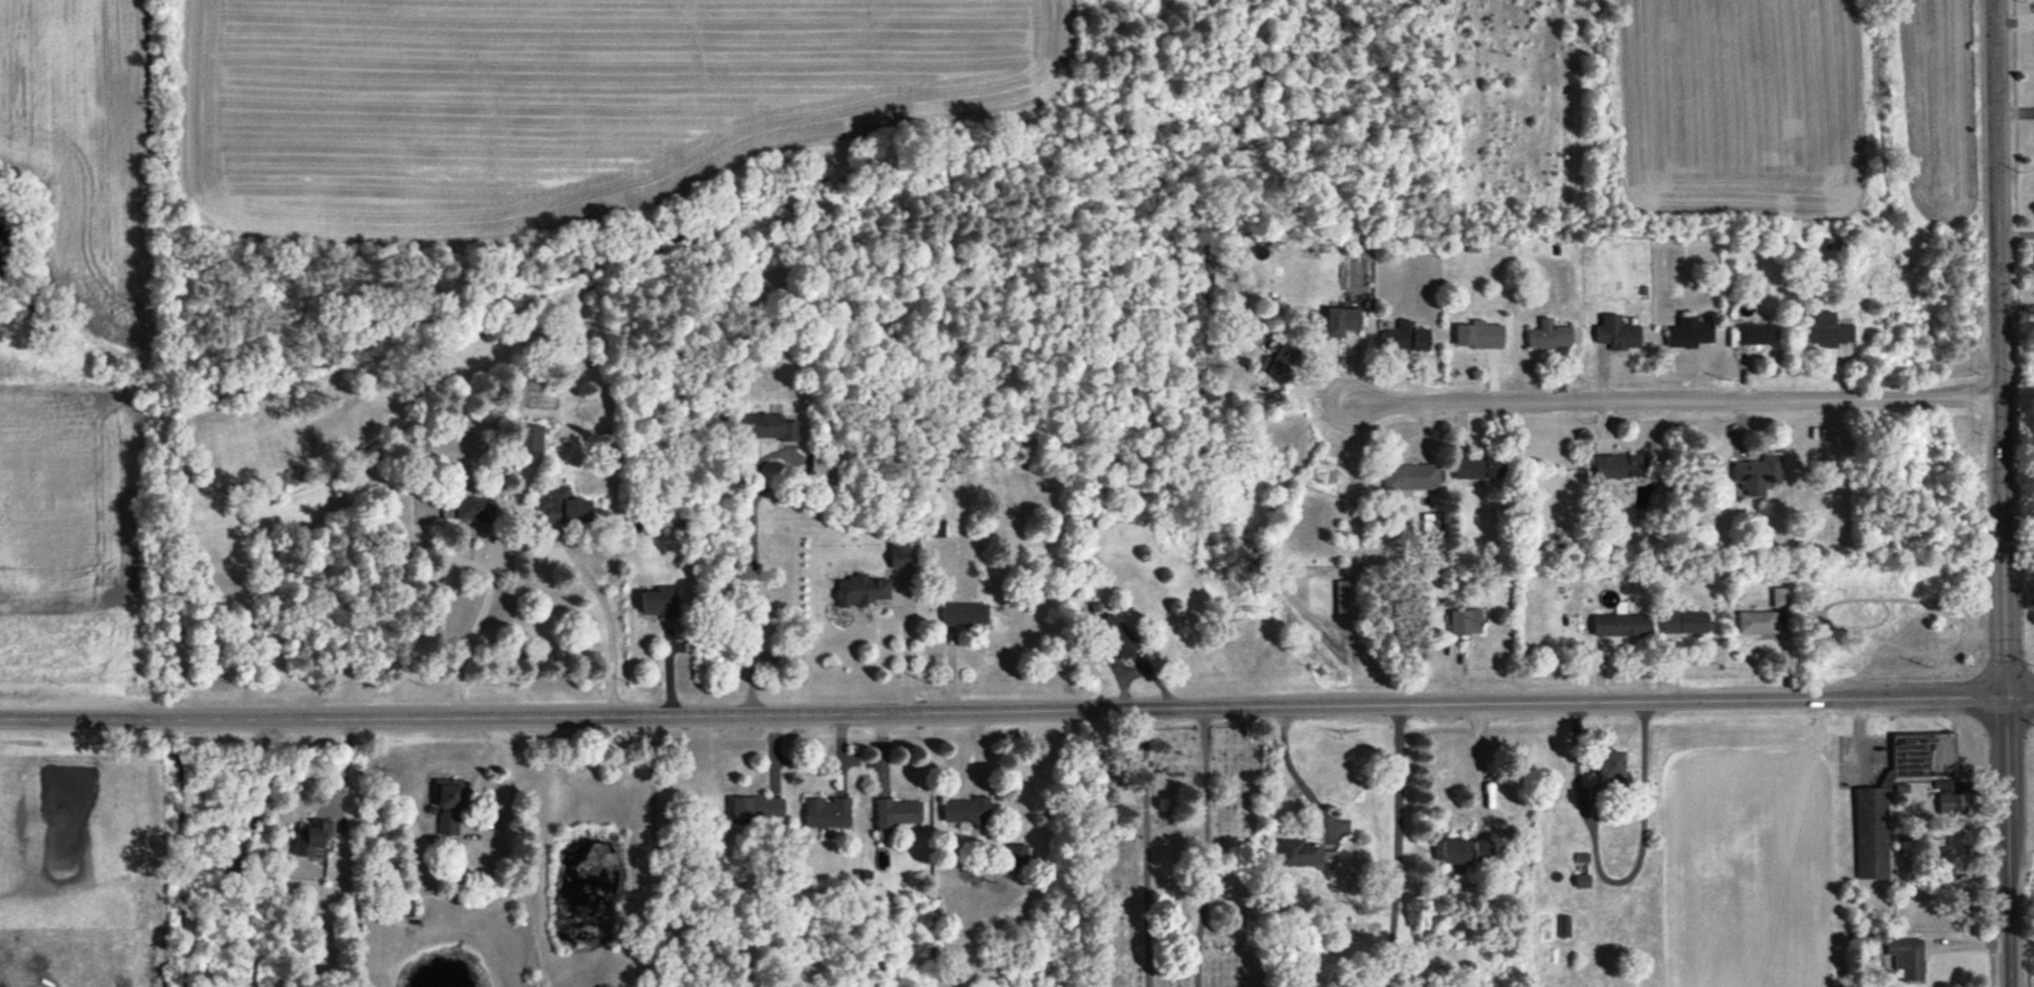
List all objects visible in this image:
crop: (488, 81)
crop: (1804, 99)
road: (2015, 303)
building: (1340, 321)
building: (1827, 330)
building: (1616, 333)
building: (1687, 333)
building: (1756, 334)
building: (1477, 335)
building: (1548, 335)
building: (1404, 337)
building: (1279, 361)
road: (1670, 398)
building: (771, 427)
building: (530, 438)
building: (418, 448)
building: (1619, 466)
building: (1477, 467)
building: (1756, 474)
building: (1409, 477)
road: (1998, 493)
building: (563, 505)
building: (448, 509)
building: (475, 509)
building: (1428, 522)
building: (934, 528)
building: (898, 554)
road: (751, 574)
building: (860, 590)
building: (1780, 597)
building: (1345, 598)
building: (658, 601)
building: (964, 614)
road: (604, 615)
building: (1464, 622)
building: (1683, 622)
building: (1755, 622)
building: (1620, 625)
road: (474, 627)
building: (1115, 636)
road: (1017, 708)
road: (1858, 735)
building: (1608, 765)
road: (1477, 766)
road: (1296, 773)
building: (1948, 799)
building: (448, 806)
building: (756, 808)
building: (965, 810)
building: (896, 812)
building: (826, 813)
road: (467, 828)
road: (1396, 829)
building: (1870, 833)
building: (311, 839)
building: (1957, 846)
building: (1480, 850)
building: (1454, 851)
building: (1298, 853)
building: (1016, 855)
park: (1171, 855)
building: (1945, 855)
building: (1944, 873)
road: (657, 878)
road: (1616, 881)
building: (403, 908)
building: (1563, 925)
building: (1905, 957)

